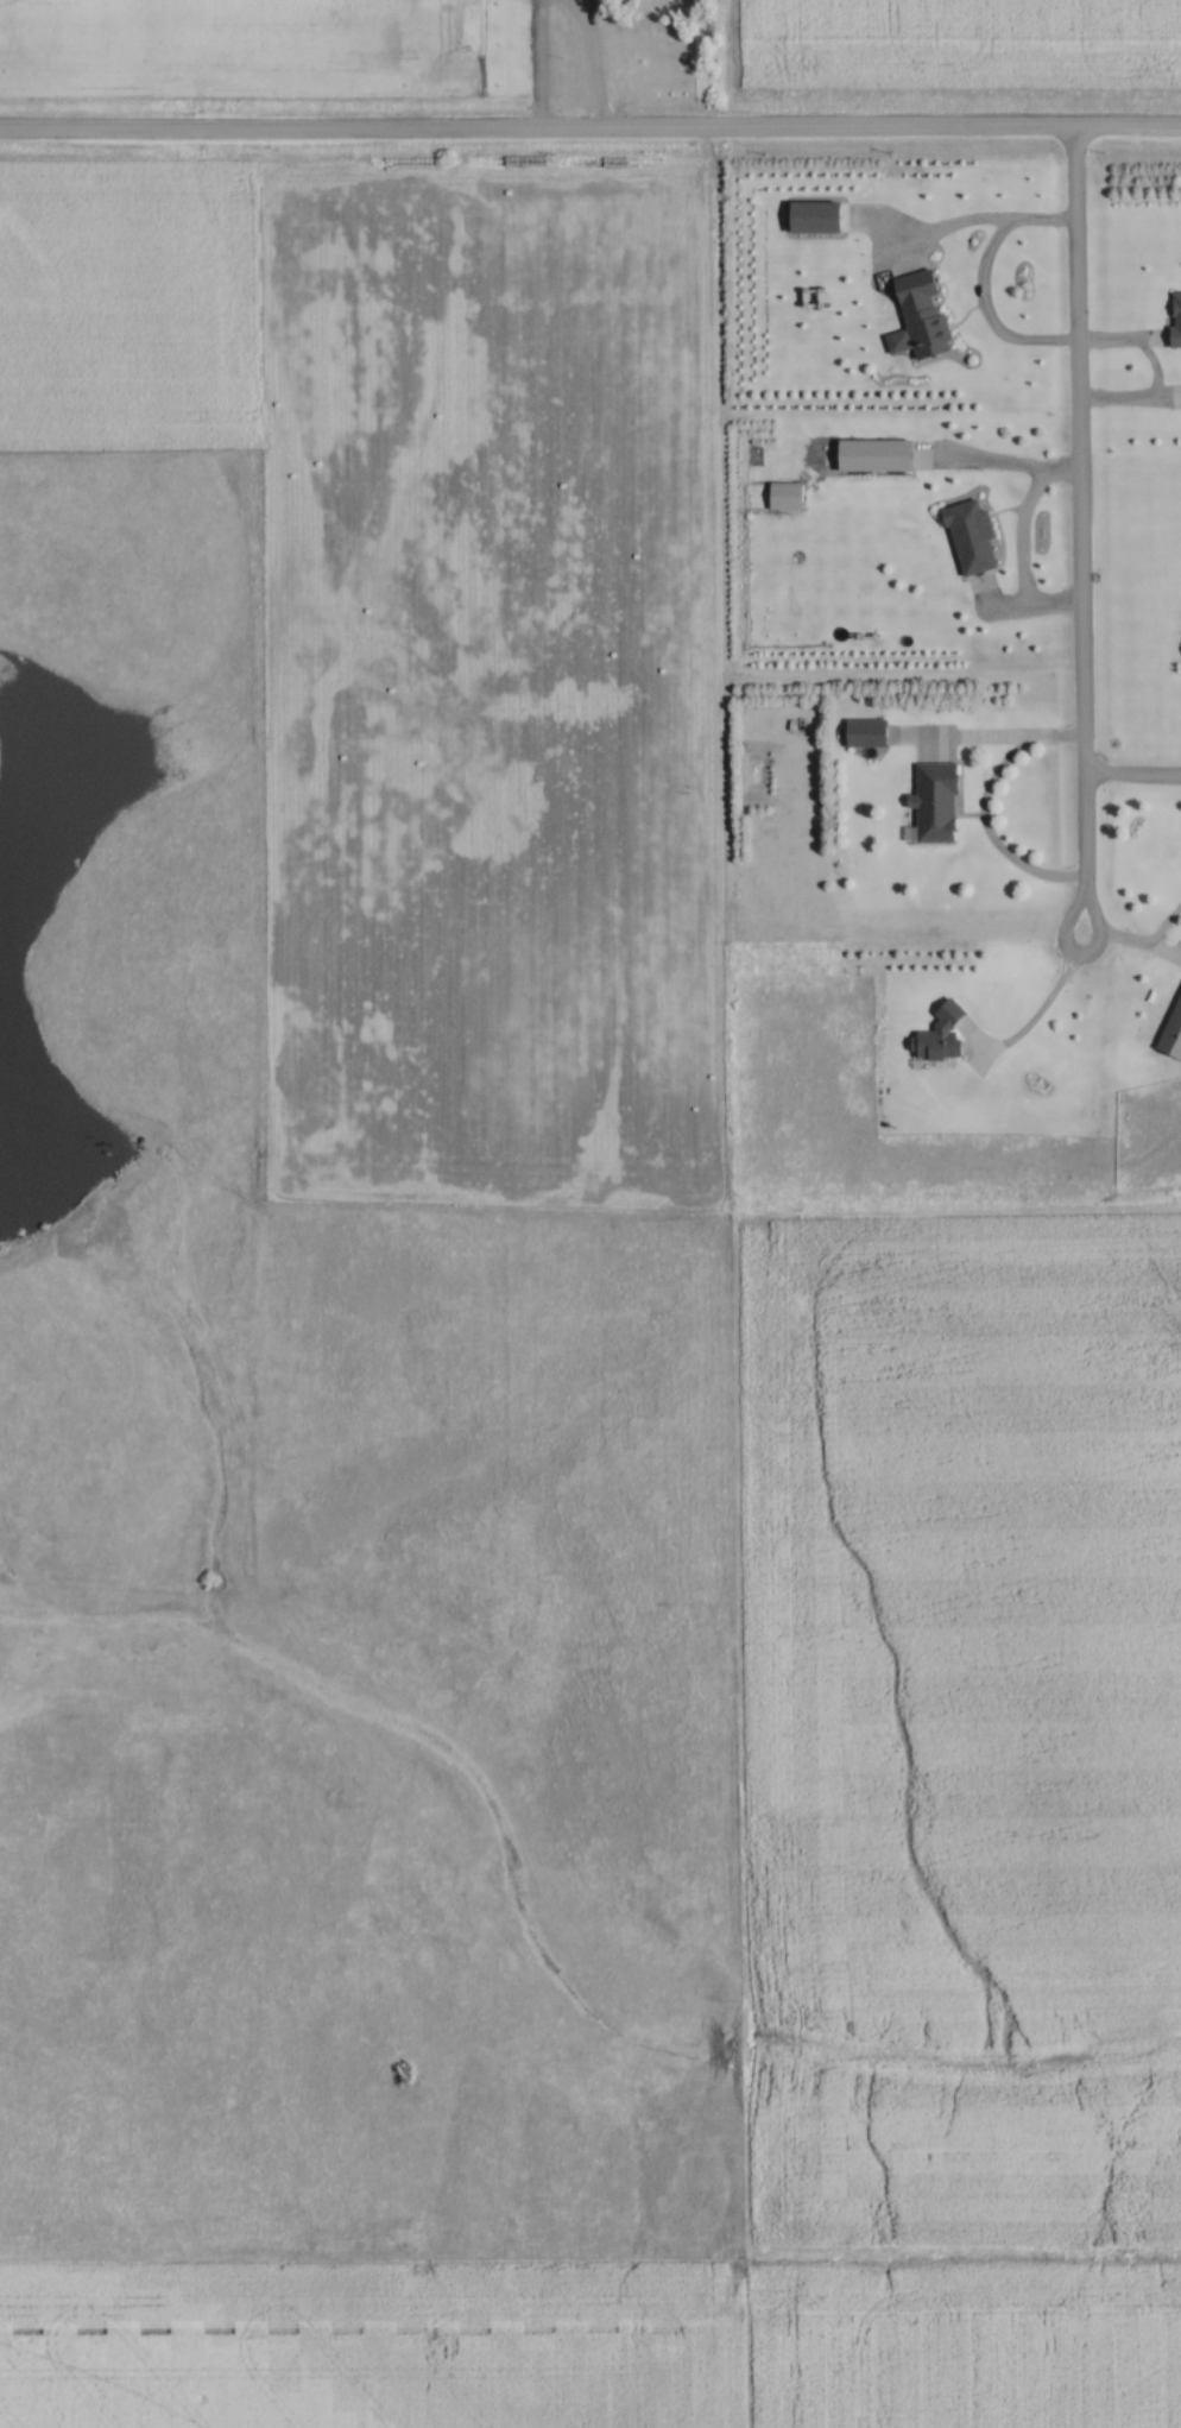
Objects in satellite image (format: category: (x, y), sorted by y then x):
road: (586, 67)
road: (590, 134)
building: (916, 319)
building: (1174, 319)
road: (1073, 453)
building: (871, 455)
building: (967, 537)
building: (863, 733)
road: (992, 740)
road: (1129, 780)
building: (931, 806)
road: (1086, 902)
building: (1171, 1029)
building: (935, 1035)

